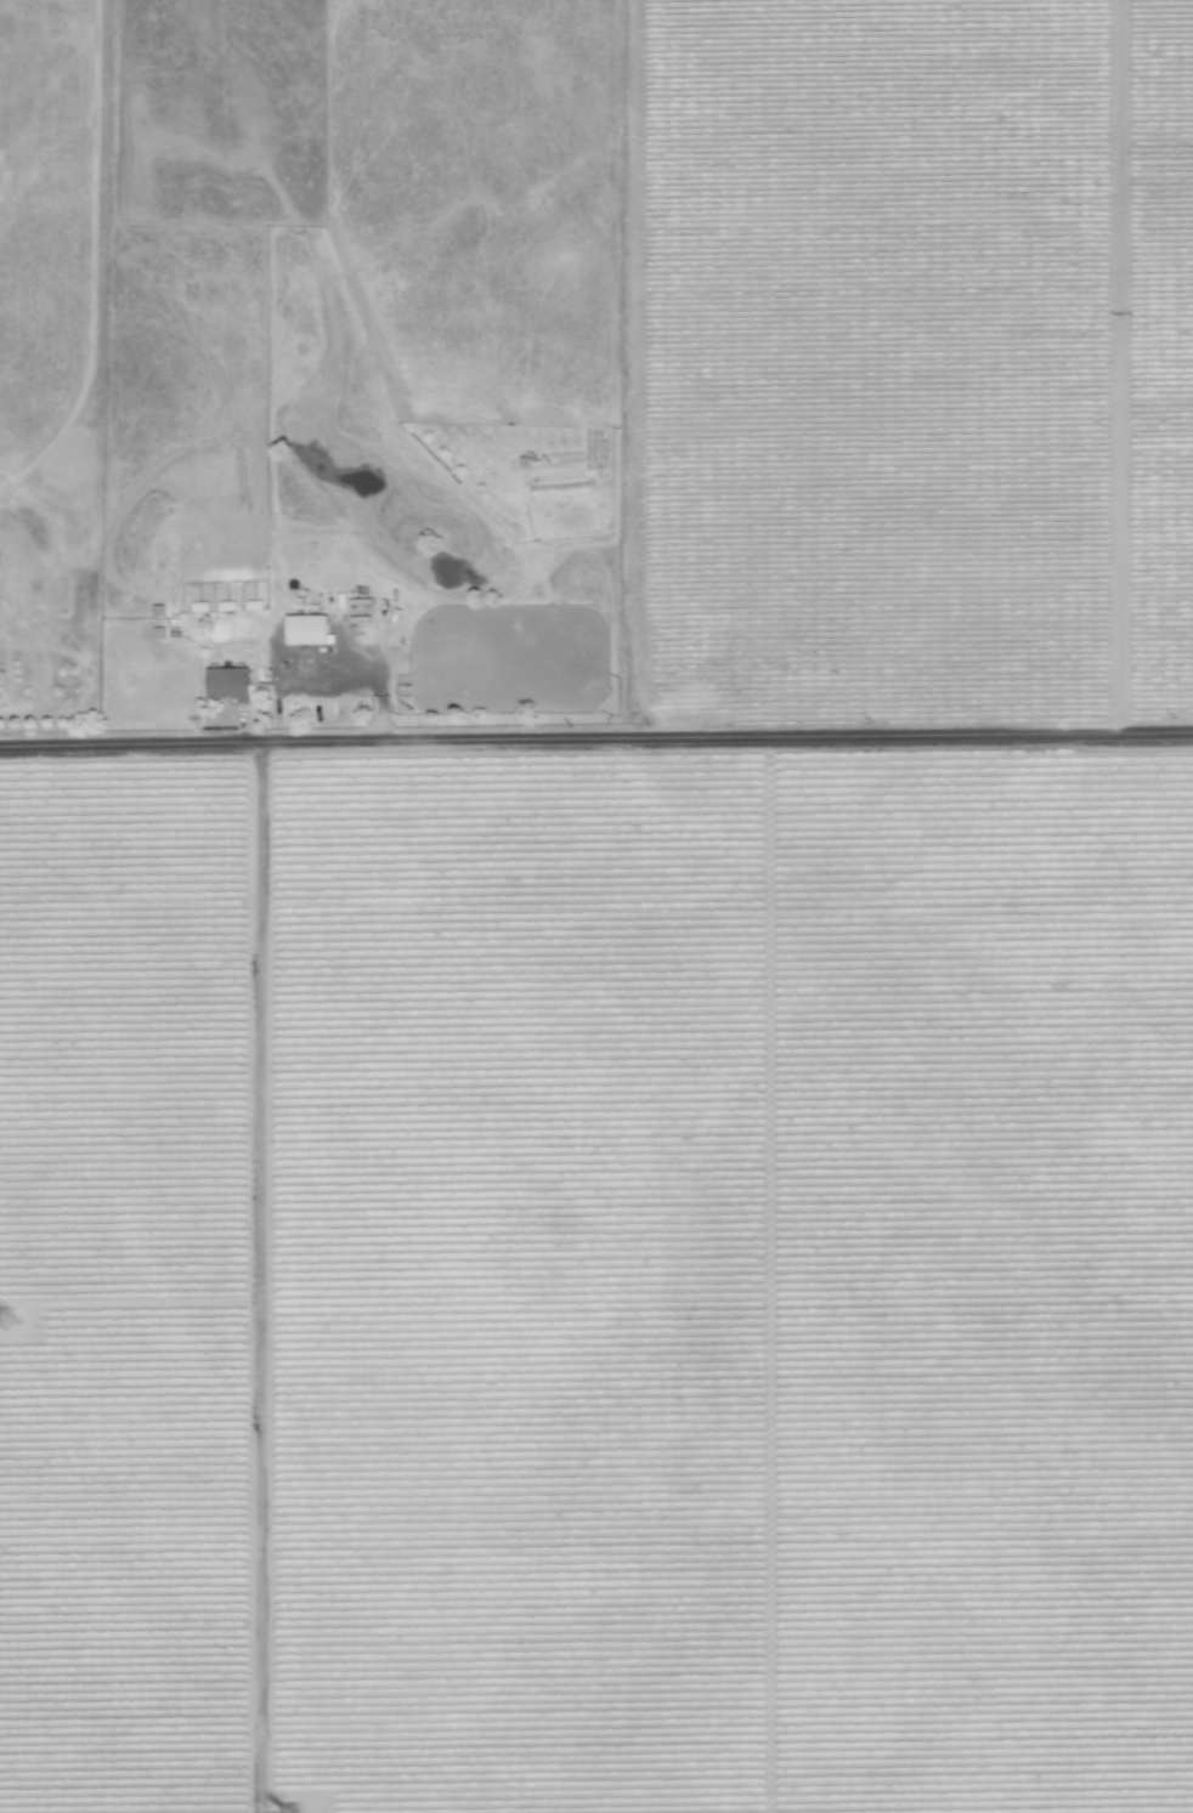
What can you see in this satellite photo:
building: (309, 629)
road: (369, 672)
building: (230, 684)
road: (595, 733)
road: (255, 1275)
power tower: (16, 1322)

